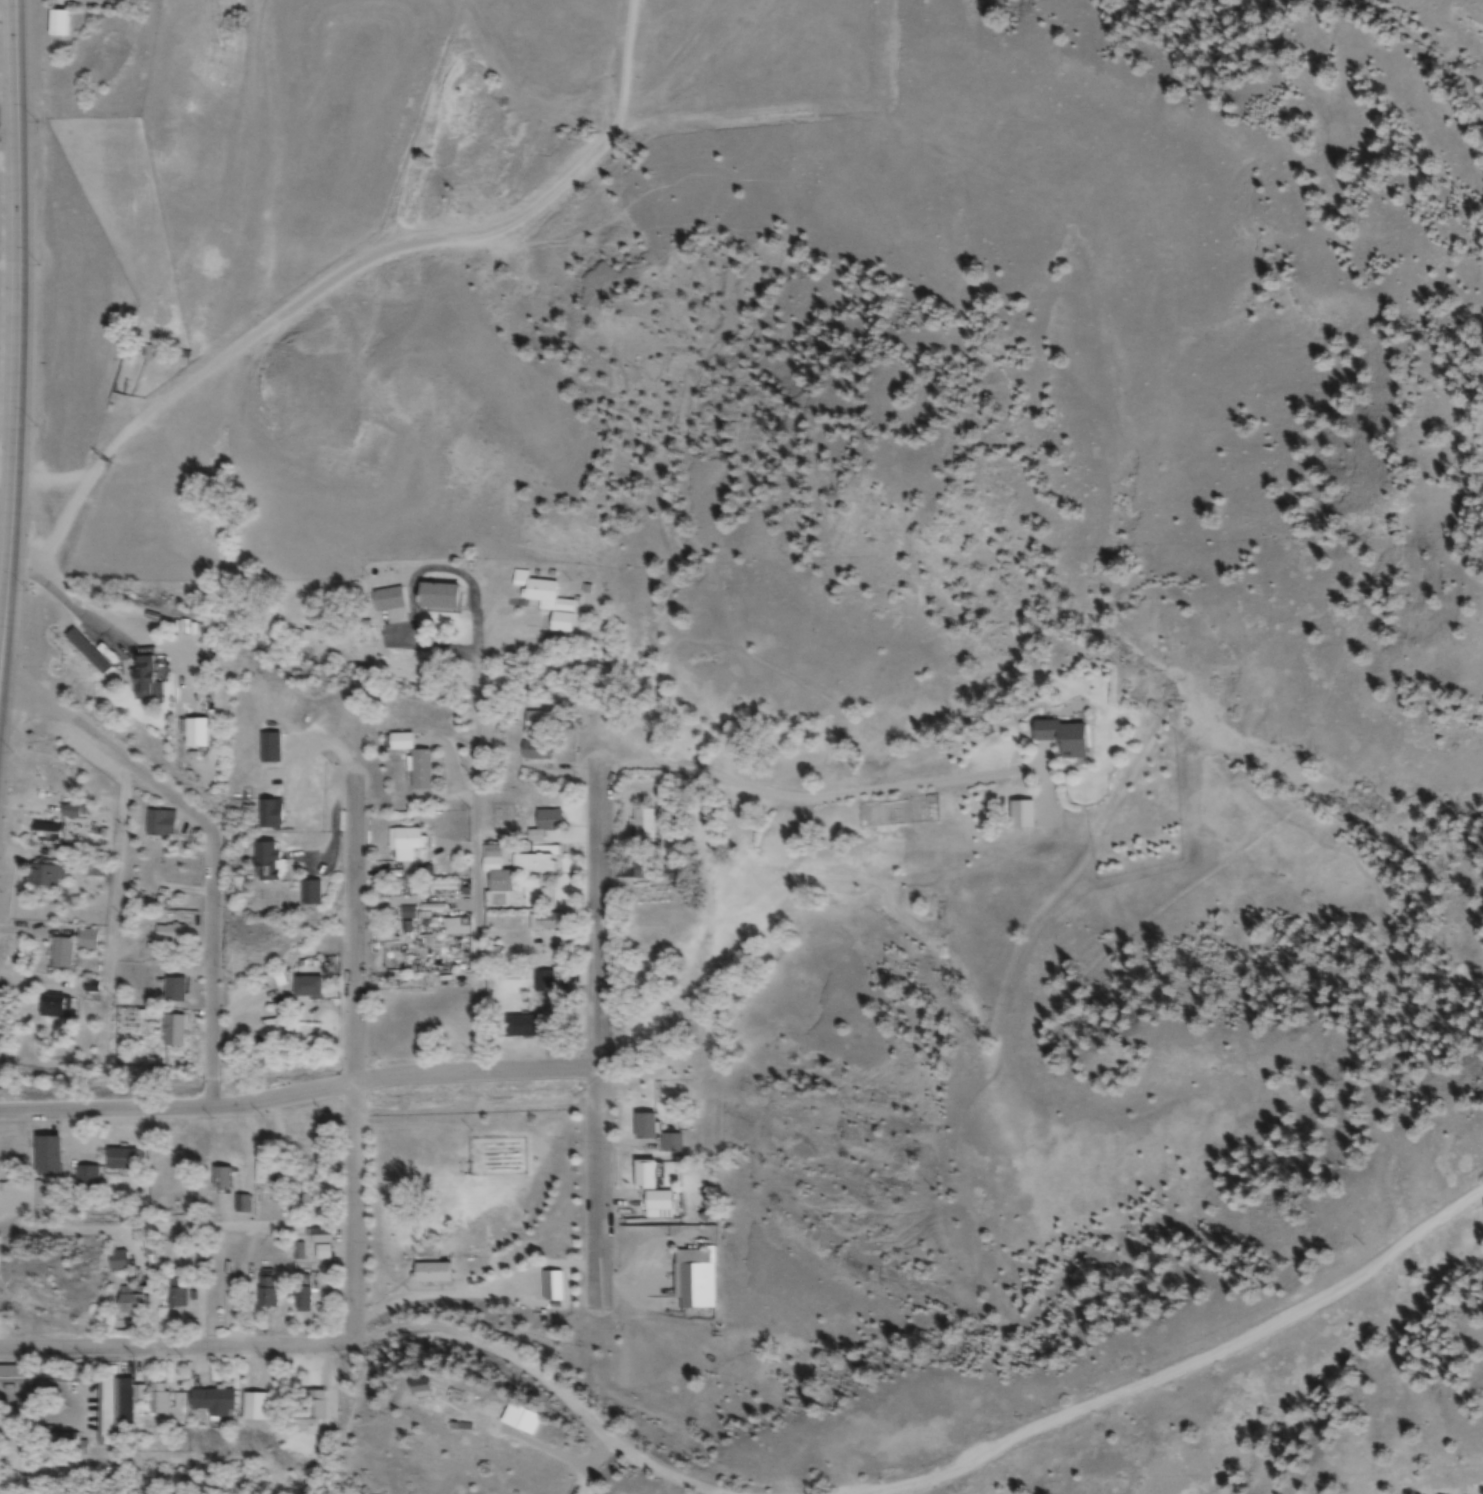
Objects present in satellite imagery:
building: (58, 24)
road: (7, 127)
road: (350, 264)
road: (11, 277)
building: (152, 354)
building: (536, 589)
building: (438, 597)
building: (388, 600)
road: (90, 612)
road: (2, 621)
building: (88, 653)
building: (146, 682)
building: (539, 723)
building: (196, 735)
building: (1064, 739)
building: (270, 750)
building: (537, 752)
building: (421, 771)
building: (71, 813)
building: (1022, 816)
building: (270, 817)
building: (159, 824)
building: (644, 828)
building: (47, 834)
road: (202, 844)
building: (405, 845)
building: (493, 855)
building: (531, 855)
building: (266, 864)
building: (97, 868)
building: (47, 878)
building: (310, 894)
road: (478, 905)
building: (546, 923)
building: (170, 938)
building: (88, 940)
building: (63, 954)
building: (394, 959)
building: (275, 981)
building: (90, 987)
building: (308, 989)
building: (544, 990)
building: (175, 992)
building: (58, 1009)
road: (597, 1021)
building: (521, 1028)
building: (174, 1032)
road: (355, 1065)
road: (298, 1094)
building: (645, 1128)
building: (672, 1145)
building: (48, 1158)
building: (122, 1161)
building: (171, 1173)
building: (265, 1175)
building: (87, 1179)
building: (223, 1180)
building: (651, 1188)
building: (313, 1204)
road: (176, 1228)
building: (322, 1238)
building: (299, 1255)
building: (323, 1255)
building: (118, 1263)
building: (432, 1274)
building: (695, 1280)
building: (553, 1288)
building: (268, 1293)
building: (177, 1295)
building: (302, 1295)
building: (131, 1303)
road: (177, 1347)
road: (1181, 1349)
building: (40, 1374)
road: (546, 1383)
building: (422, 1391)
building: (159, 1402)
building: (213, 1404)
building: (106, 1408)
building: (255, 1409)
building: (308, 1411)
building: (61, 1446)

